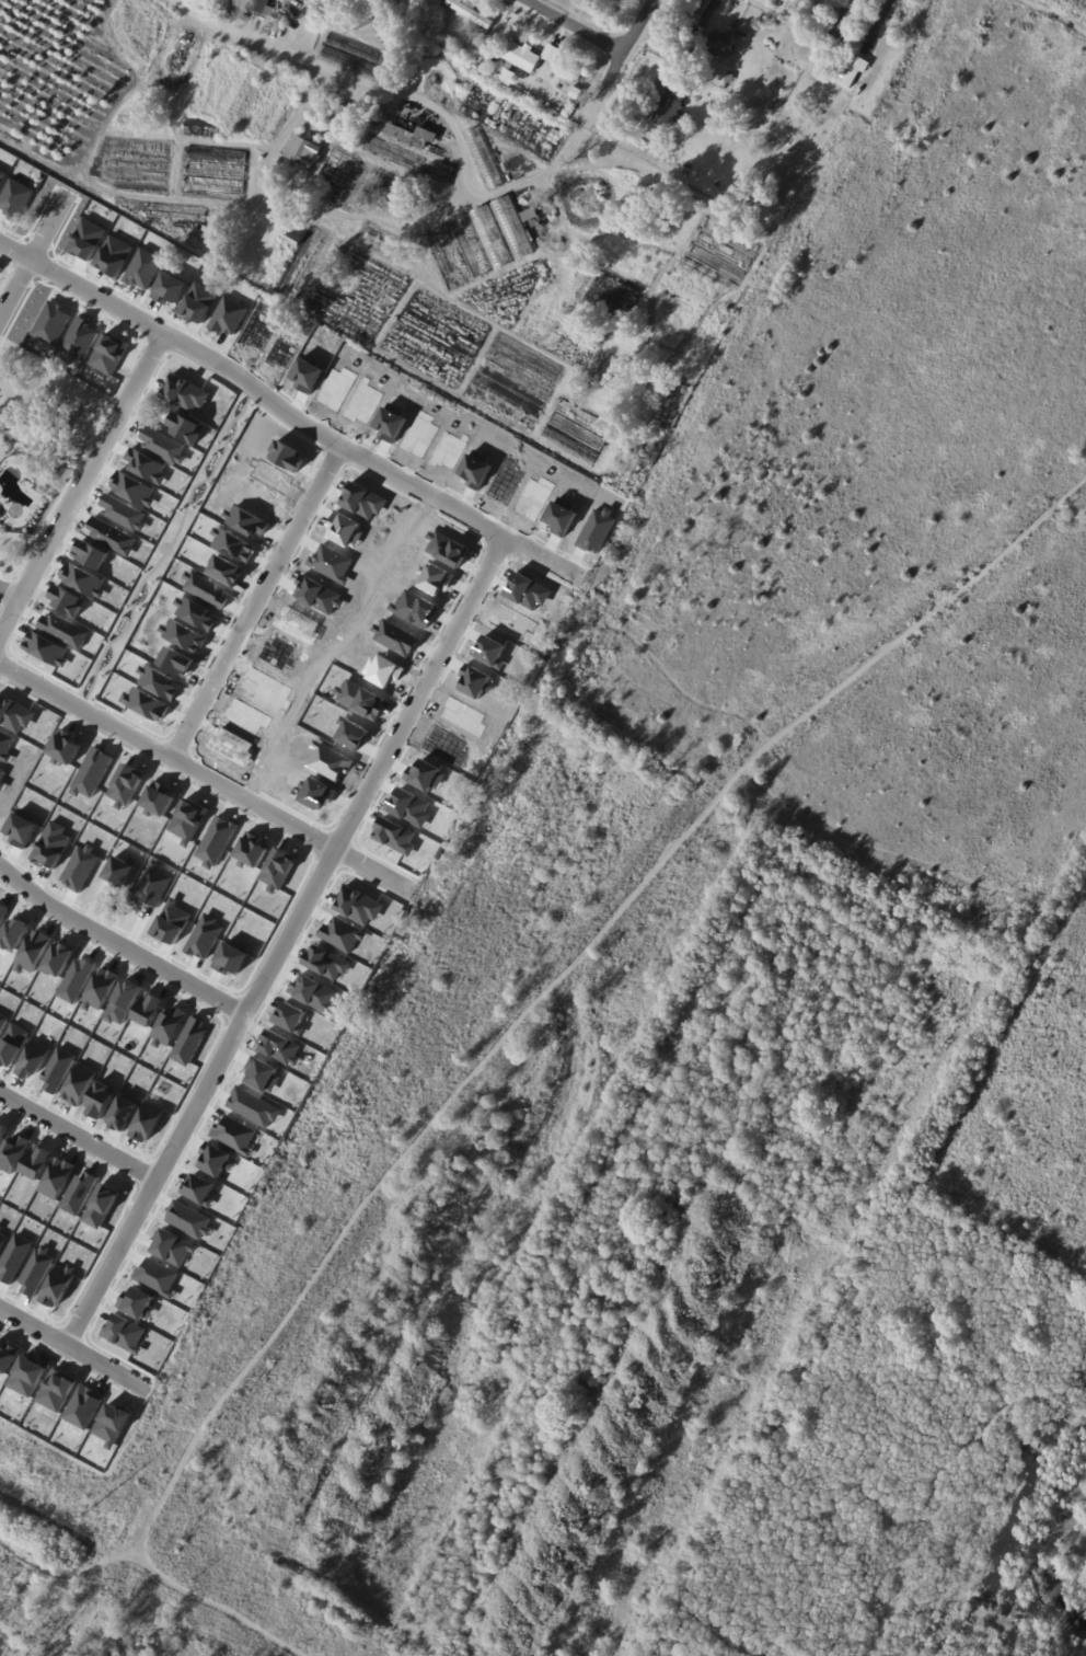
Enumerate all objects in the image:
building: (372, 2)
building: (435, 4)
building: (776, 4)
building: (262, 7)
building: (473, 13)
building: (705, 13)
building: (845, 18)
building: (759, 23)
road: (575, 25)
building: (370, 27)
building: (485, 30)
building: (721, 44)
building: (834, 47)
building: (550, 51)
building: (464, 54)
building: (522, 57)
road: (310, 60)
road: (615, 61)
building: (855, 71)
building: (827, 74)
building: (577, 92)
building: (670, 102)
building: (348, 112)
building: (398, 133)
building: (428, 134)
building: (304, 151)
building: (394, 153)
building: (485, 158)
building: (1, 173)
road: (499, 189)
building: (14, 198)
building: (531, 215)
building: (510, 226)
building: (489, 235)
building: (85, 239)
building: (294, 239)
building: (470, 245)
road: (14, 252)
building: (114, 254)
road: (31, 257)
building: (286, 264)
building: (142, 267)
building: (167, 288)
building: (198, 301)
building: (227, 315)
building: (50, 323)
building: (256, 330)
building: (78, 337)
building: (280, 352)
building: (107, 353)
building: (308, 373)
building: (337, 387)
building: (185, 392)
building: (365, 402)
building: (391, 422)
road: (300, 423)
building: (186, 427)
building: (420, 434)
building: (163, 445)
building: (449, 449)
building: (287, 455)
building: (147, 465)
building: (476, 469)
building: (271, 475)
building: (506, 481)
building: (132, 487)
road: (83, 491)
building: (534, 496)
building: (255, 497)
building: (363, 501)
building: (123, 511)
building: (562, 516)
building: (246, 520)
building: (346, 529)
building: (597, 530)
building: (112, 536)
building: (234, 544)
building: (447, 548)
building: (91, 554)
building: (332, 563)
building: (226, 570)
building: (436, 578)
building: (83, 579)
building: (207, 588)
road: (13, 590)
building: (528, 591)
building: (317, 594)
building: (68, 600)
road: (262, 606)
building: (414, 608)
building: (196, 613)
building: (511, 621)
building: (298, 625)
building: (63, 629)
building: (184, 635)
building: (395, 637)
building: (46, 648)
building: (490, 651)
building: (276, 653)
building: (176, 660)
building: (383, 670)
building: (158, 681)
building: (475, 681)
building: (267, 688)
road: (656, 690)
building: (359, 699)
building: (146, 703)
building: (14, 714)
building: (464, 715)
building: (247, 716)
building: (351, 733)
building: (5, 745)
building: (232, 746)
building: (446, 746)
building: (63, 747)
building: (330, 760)
building: (92, 772)
building: (1, 773)
building: (425, 775)
road: (207, 778)
building: (2, 785)
building: (126, 785)
building: (317, 793)
building: (158, 798)
building: (411, 807)
building: (188, 820)
building: (22, 827)
building: (395, 835)
building: (217, 840)
building: (51, 844)
building: (251, 850)
building: (81, 867)
building: (278, 870)
building: (120, 871)
building: (152, 885)
building: (359, 905)
building: (3, 911)
building: (172, 922)
building: (14, 933)
building: (343, 933)
building: (204, 936)
road: (290, 944)
road: (123, 945)
building: (33, 951)
building: (232, 956)
building: (58, 958)
building: (327, 962)
building: (78, 979)
building: (101, 989)
building: (315, 993)
building: (124, 1002)
building: (149, 1008)
building: (291, 1016)
building: (2, 1022)
building: (170, 1026)
building: (189, 1040)
road: (496, 1043)
building: (12, 1044)
building: (280, 1047)
building: (33, 1058)
building: (58, 1069)
building: (262, 1074)
building: (79, 1083)
building: (101, 1099)
building: (254, 1106)
building: (122, 1113)
building: (147, 1120)
building: (2, 1130)
building: (234, 1134)
road: (79, 1137)
building: (13, 1152)
building: (215, 1159)
building: (37, 1161)
building: (57, 1177)
building: (198, 1188)
building: (79, 1192)
building: (101, 1206)
building: (188, 1219)
building: (0, 1227)
building: (2, 1239)
building: (173, 1246)
building: (14, 1257)
building: (36, 1270)
building: (157, 1277)
building: (58, 1285)
building: (137, 1302)
building: (124, 1332)
road: (44, 1333)
building: (7, 1356)
building: (26, 1376)
building: (56, 1390)
building: (83, 1406)
building: (112, 1424)
power tower: (84, 1516)

